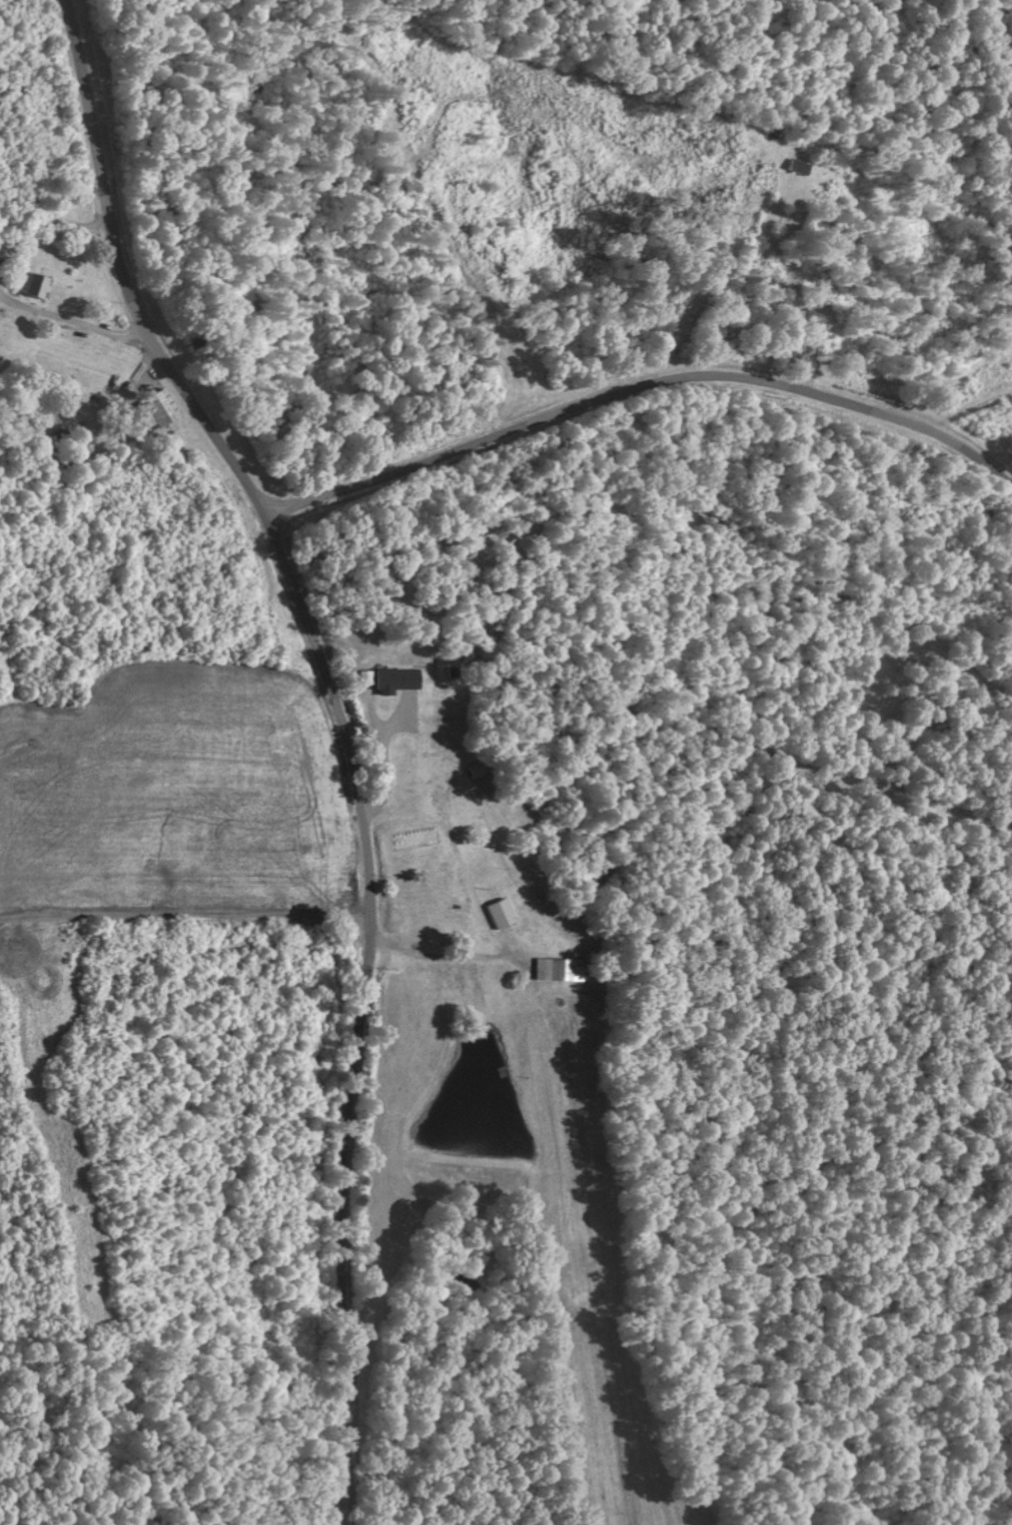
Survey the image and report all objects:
building: (799, 166)
road: (639, 386)
building: (160, 410)
road: (251, 492)
building: (397, 679)
building: (476, 770)
building: (559, 968)
road: (342, 1264)

